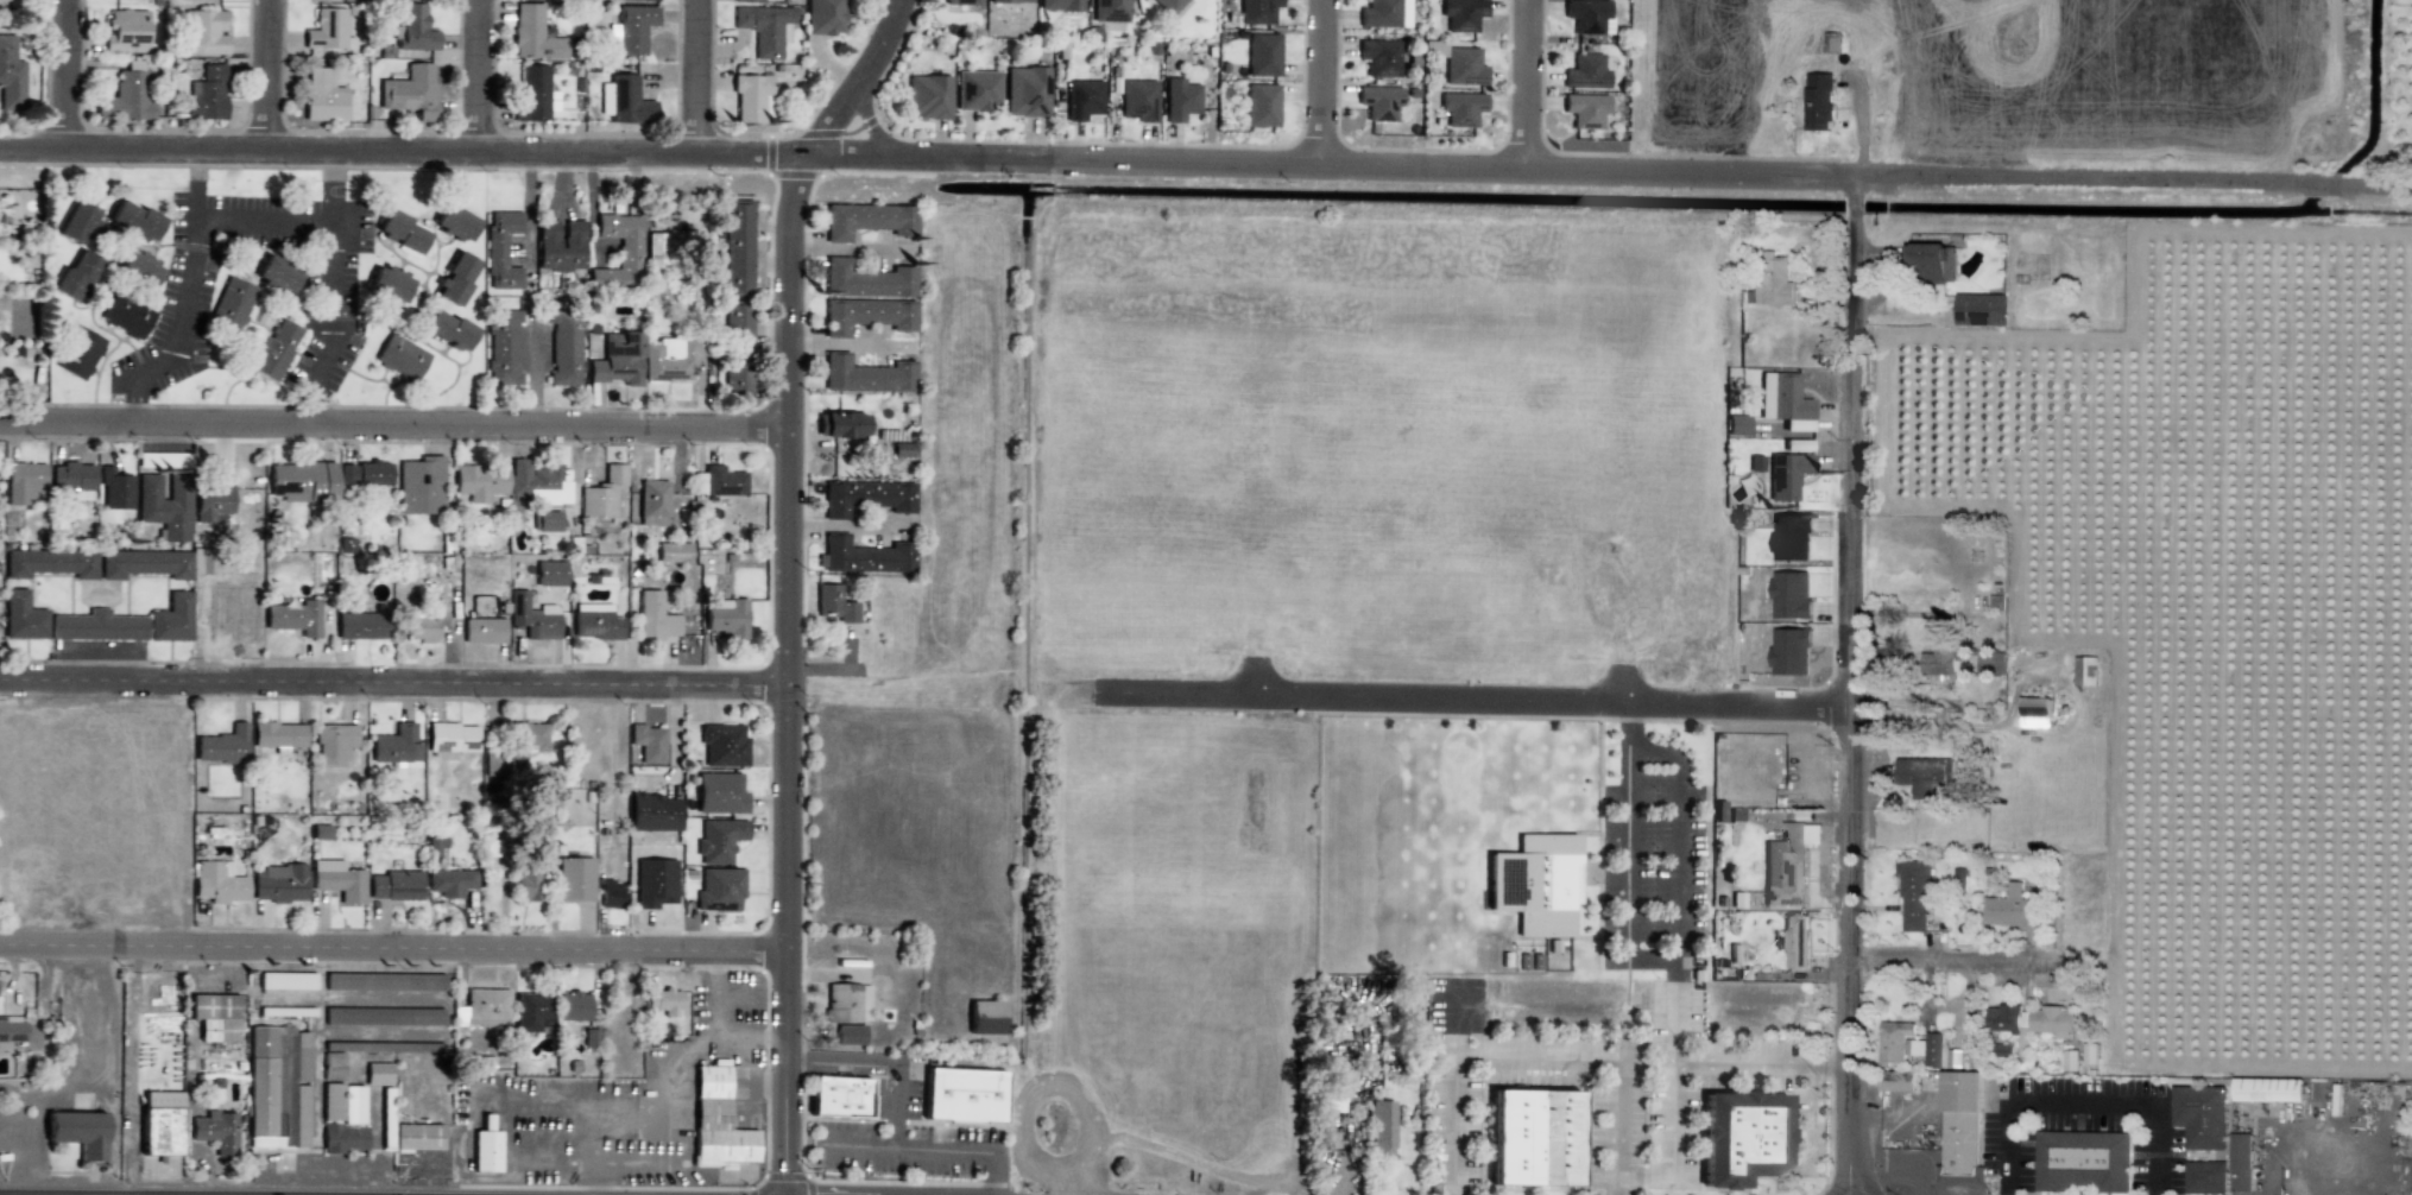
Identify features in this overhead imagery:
building: (7, 0)
building: (322, 0)
building: (638, 0)
building: (746, 1)
building: (1009, 1)
building: (960, 2)
building: (1059, 5)
building: (1168, 5)
building: (1109, 11)
building: (1257, 11)
building: (1403, 13)
building: (1378, 14)
building: (1461, 14)
building: (1586, 15)
building: (823, 17)
building: (764, 27)
building: (633, 29)
building: (324, 30)
building: (412, 30)
building: (125, 31)
building: (202, 33)
building: (533, 34)
road: (879, 46)
building: (1262, 55)
building: (1379, 57)
building: (1463, 67)
building: (1585, 72)
road: (69, 74)
road: (271, 74)
road: (481, 75)
road: (700, 75)
building: (10, 76)
road: (1522, 83)
road: (1317, 86)
building: (975, 90)
building: (1025, 91)
building: (410, 93)
building: (206, 94)
building: (533, 94)
building: (126, 95)
building: (322, 96)
building: (927, 97)
building: (751, 99)
building: (1082, 99)
building: (1138, 100)
building: (1180, 100)
building: (627, 102)
building: (1379, 102)
building: (1817, 102)
building: (1262, 105)
building: (1461, 109)
building: (1585, 110)
road: (833, 122)
road: (869, 128)
road: (348, 150)
road: (1554, 167)
building: (6, 215)
building: (133, 220)
road: (299, 220)
building: (867, 220)
building: (75, 221)
building: (453, 221)
building: (398, 230)
building: (558, 245)
building: (737, 247)
building: (653, 248)
building: (500, 249)
building: (619, 249)
building: (1932, 263)
building: (137, 267)
building: (273, 273)
building: (74, 274)
building: (454, 278)
building: (866, 280)
building: (1772, 282)
building: (386, 283)
road: (185, 293)
building: (232, 303)
building: (1978, 309)
building: (125, 315)
building: (866, 315)
road: (332, 323)
building: (447, 329)
building: (503, 348)
building: (737, 348)
building: (274, 349)
building: (564, 349)
building: (78, 353)
building: (399, 358)
building: (617, 359)
building: (670, 359)
building: (865, 374)
building: (1783, 400)
road: (396, 424)
building: (839, 424)
building: (1737, 425)
building: (1782, 473)
building: (364, 474)
building: (71, 480)
building: (299, 481)
building: (719, 481)
building: (21, 482)
building: (479, 482)
building: (419, 485)
building: (535, 485)
building: (114, 489)
building: (601, 493)
building: (865, 497)
building: (651, 502)
building: (210, 504)
building: (164, 505)
building: (545, 520)
building: (1789, 536)
building: (671, 552)
building: (863, 557)
building: (201, 561)
building: (49, 562)
building: (144, 563)
building: (549, 573)
building: (833, 603)
building: (532, 617)
building: (653, 617)
building: (21, 618)
building: (293, 618)
building: (726, 618)
building: (170, 619)
building: (594, 621)
building: (422, 622)
building: (361, 625)
building: (97, 626)
building: (481, 631)
building: (1937, 662)
building: (1989, 663)
road: (396, 678)
road: (1856, 685)
road: (1478, 696)
road: (791, 697)
building: (2033, 712)
road: (1628, 726)
building: (277, 735)
building: (529, 736)
building: (450, 738)
building: (333, 744)
building: (648, 744)
building: (221, 745)
building: (396, 745)
building: (722, 745)
building: (492, 764)
building: (1924, 776)
building: (719, 792)
building: (652, 813)
building: (320, 832)
building: (718, 840)
building: (434, 846)
building: (490, 849)
building: (1787, 864)
building: (573, 879)
building: (337, 880)
building: (217, 883)
building: (278, 883)
building: (448, 883)
building: (655, 883)
road: (1627, 883)
building: (394, 885)
building: (525, 885)
building: (719, 890)
building: (610, 894)
building: (1912, 894)
building: (2009, 909)
building: (1794, 941)
road: (396, 946)
road: (1958, 957)
road: (1675, 974)
building: (383, 981)
building: (662, 1001)
building: (846, 1003)
building: (572, 1006)
building: (482, 1009)
building: (531, 1012)
building: (214, 1016)
building: (383, 1017)
building: (984, 1017)
road: (1457, 1020)
building: (2028, 1022)
building: (12, 1031)
building: (847, 1035)
building: (591, 1038)
building: (1906, 1044)
building: (378, 1047)
building: (2002, 1050)
building: (1952, 1057)
road: (1536, 1058)
building: (333, 1067)
building: (377, 1074)
building: (1895, 1081)
building: (260, 1088)
building: (2267, 1089)
building: (964, 1095)
building: (838, 1096)
building: (332, 1101)
building: (352, 1105)
road: (2080, 1105)
building: (2199, 1115)
road: (1808, 1119)
building: (716, 1120)
building: (159, 1123)
building: (1958, 1124)
building: (1381, 1128)
building: (214, 1131)
building: (77, 1132)
building: (299, 1134)
building: (416, 1137)
building: (342, 1138)
building: (1533, 1138)
building: (1742, 1138)
building: (485, 1147)
road: (1673, 1150)
building: (2080, 1161)
building: (2239, 1162)
building: (2204, 1177)

